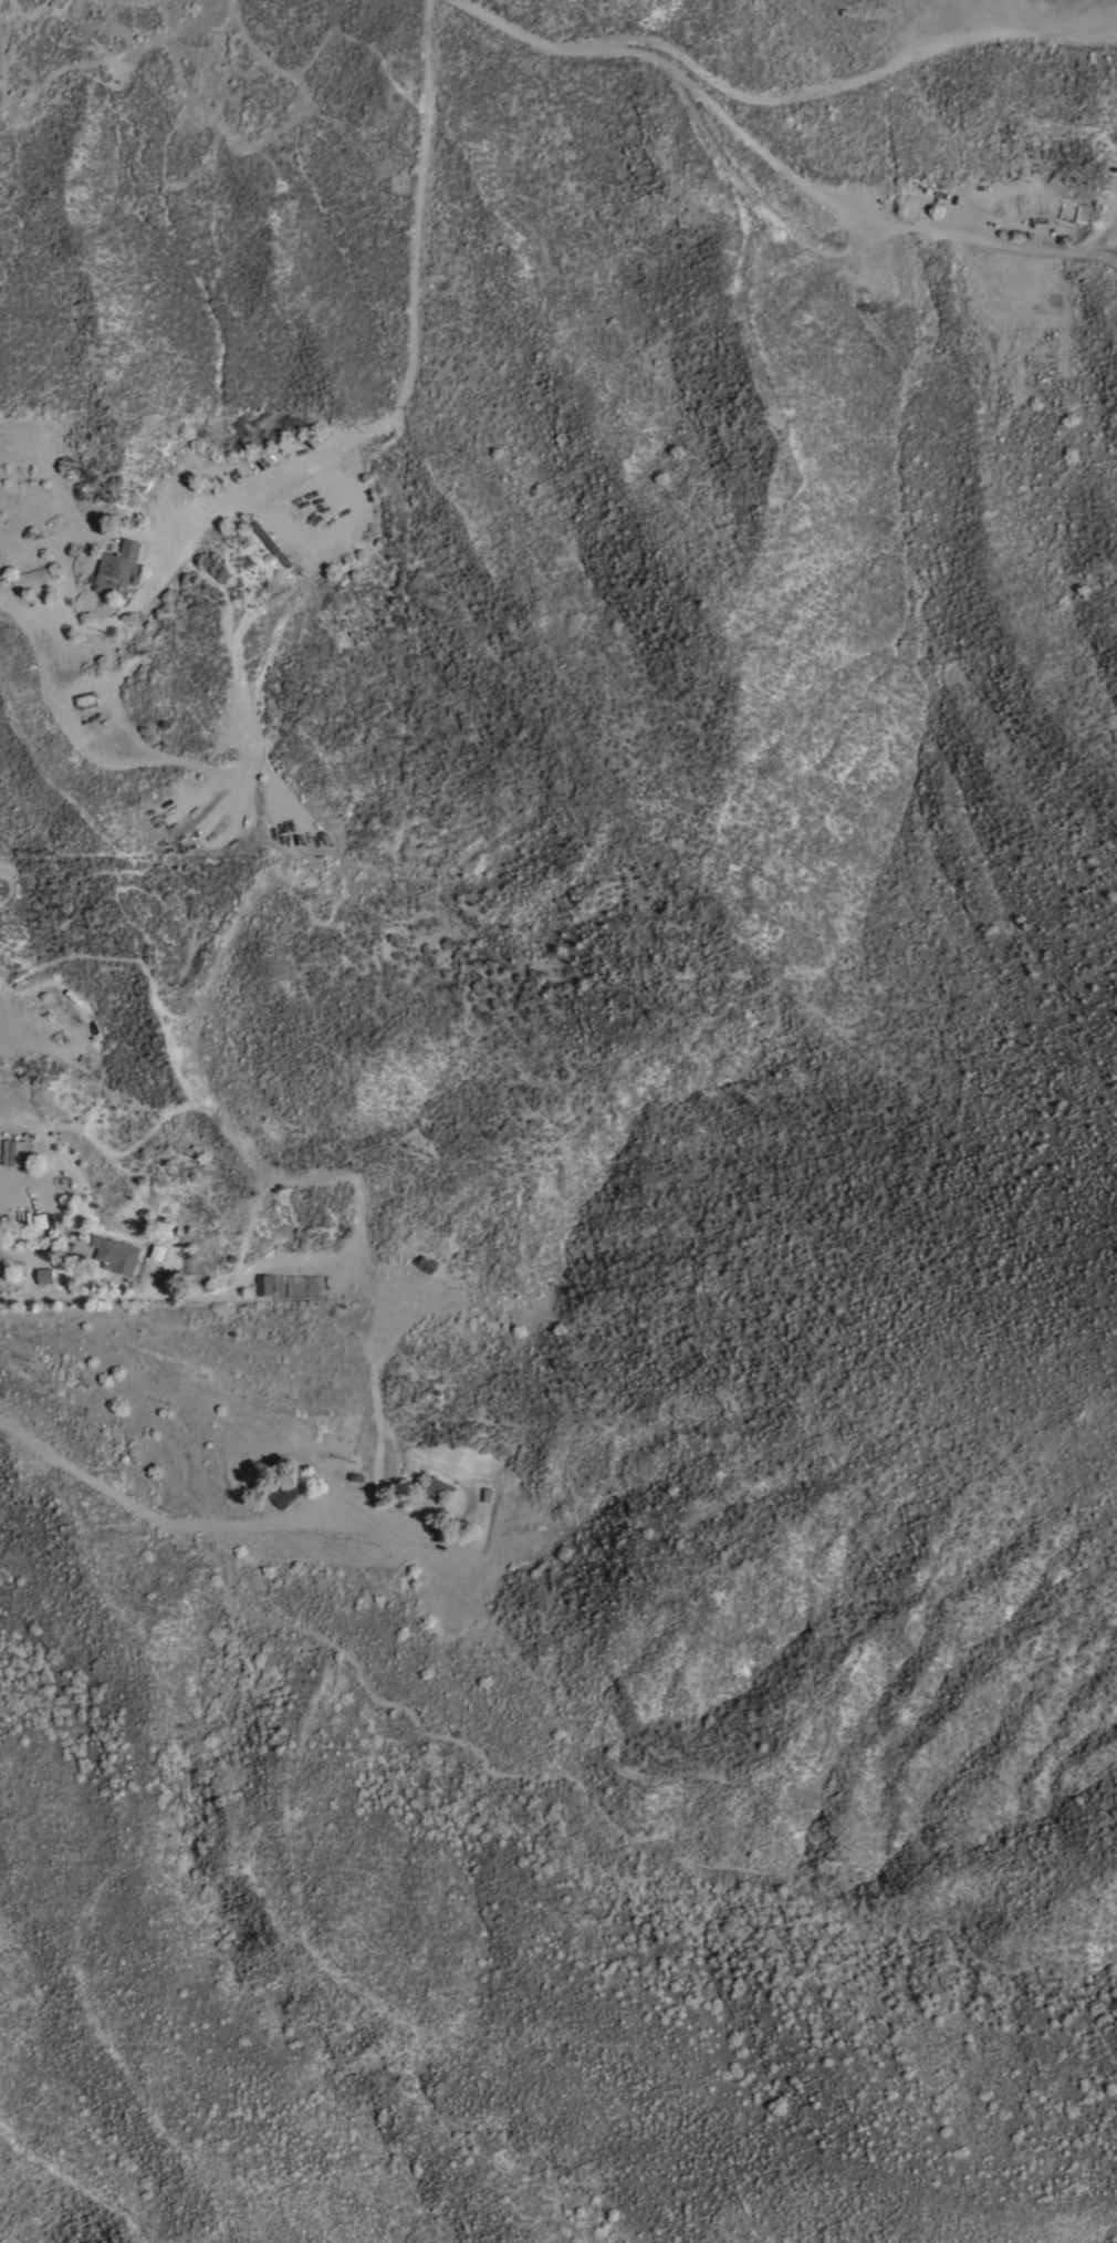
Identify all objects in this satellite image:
road: (791, 98)
road: (826, 196)
road: (406, 383)
building: (267, 538)
building: (119, 571)
building: (87, 702)
road: (74, 745)
building: (117, 1257)
building: (427, 1265)
building: (45, 1277)
building: (264, 1286)
road: (72, 1472)
road: (375, 1502)

